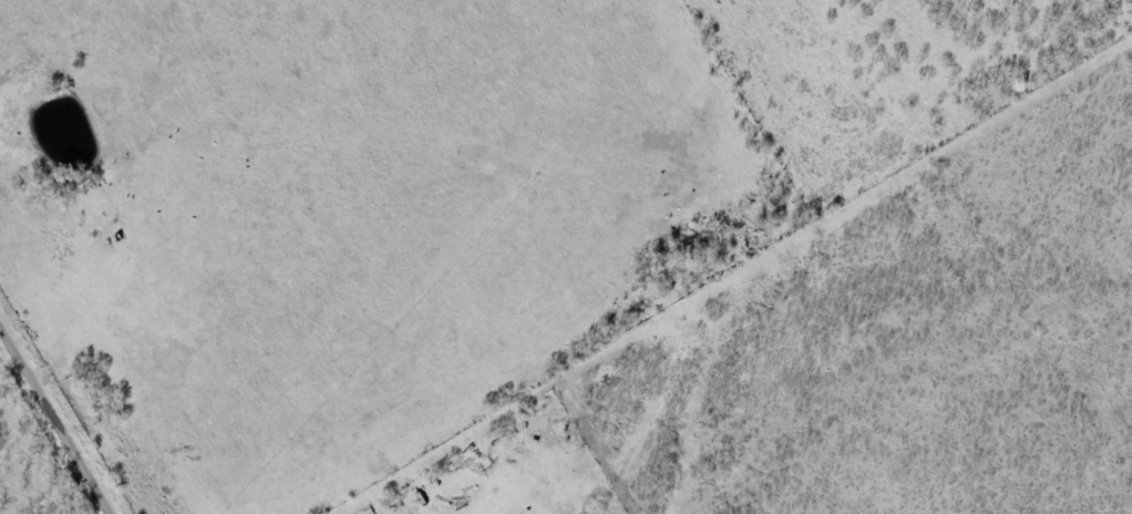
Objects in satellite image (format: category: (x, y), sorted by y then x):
road: (60, 411)

